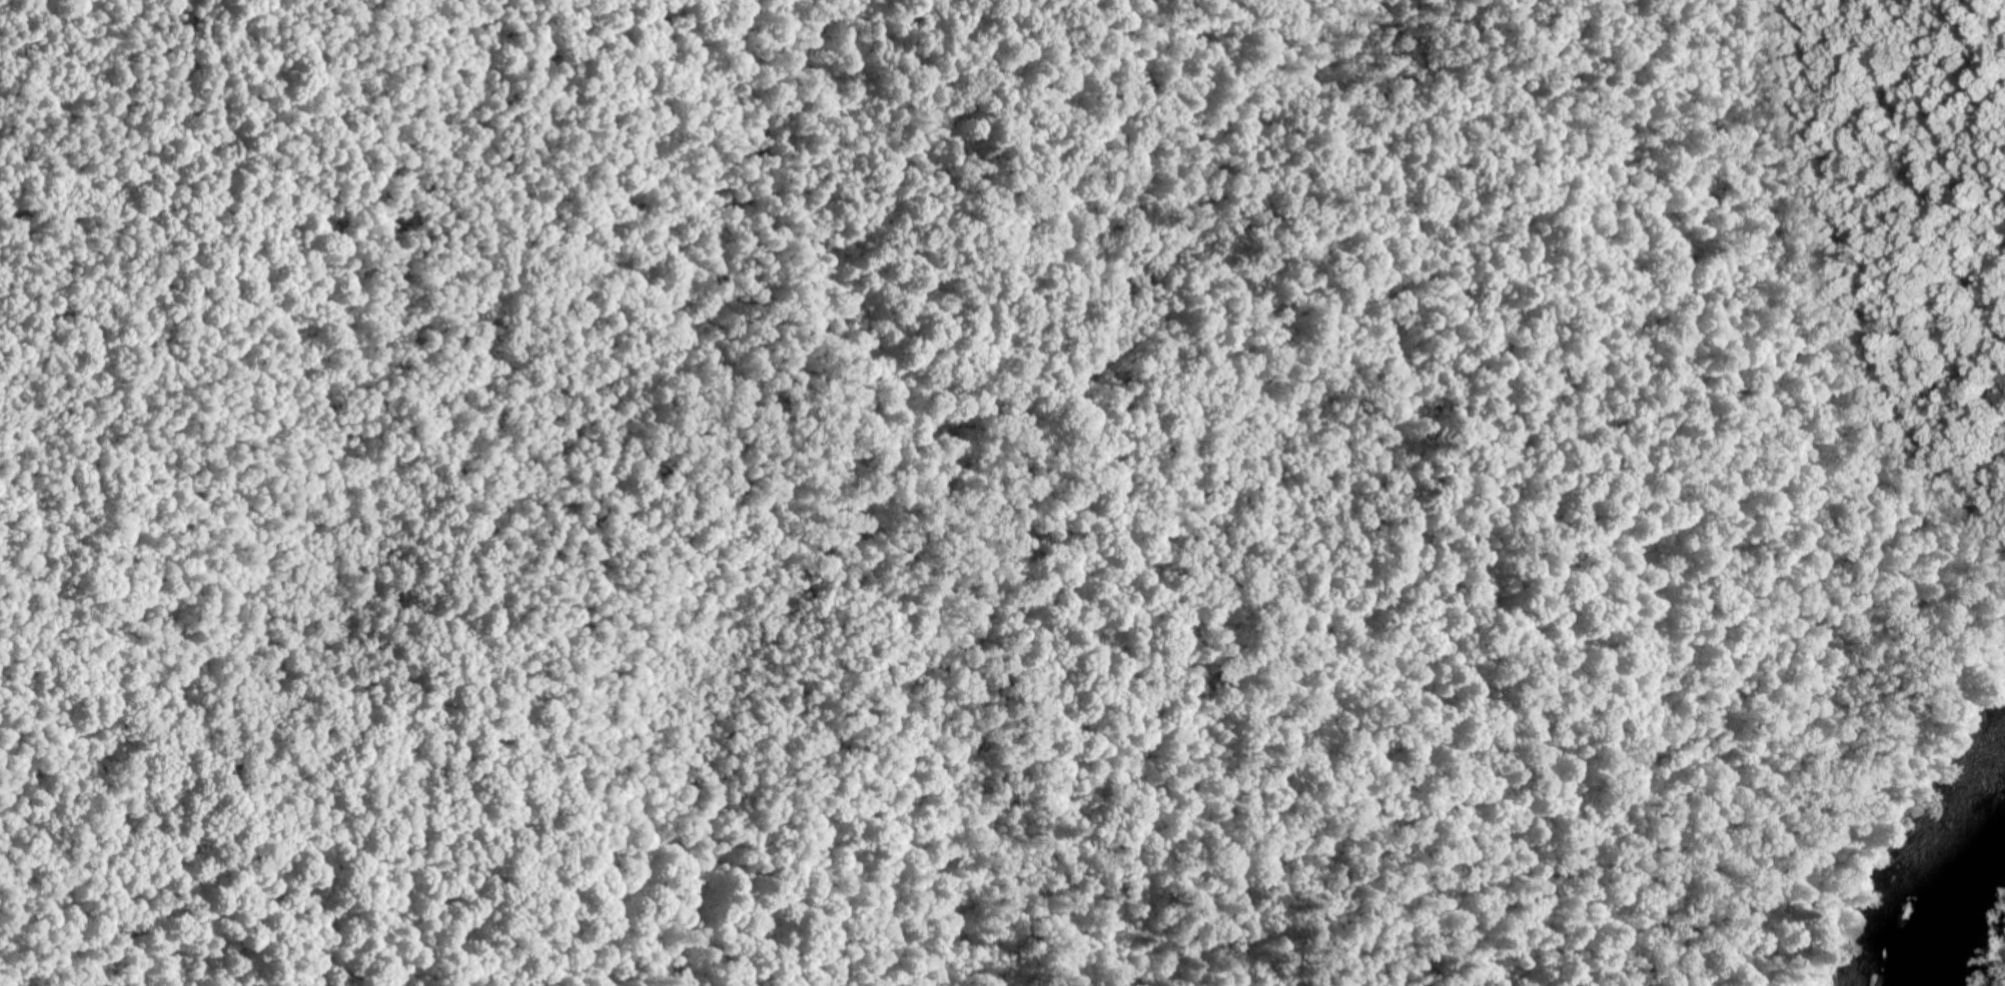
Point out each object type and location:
river: (1973, 932)

